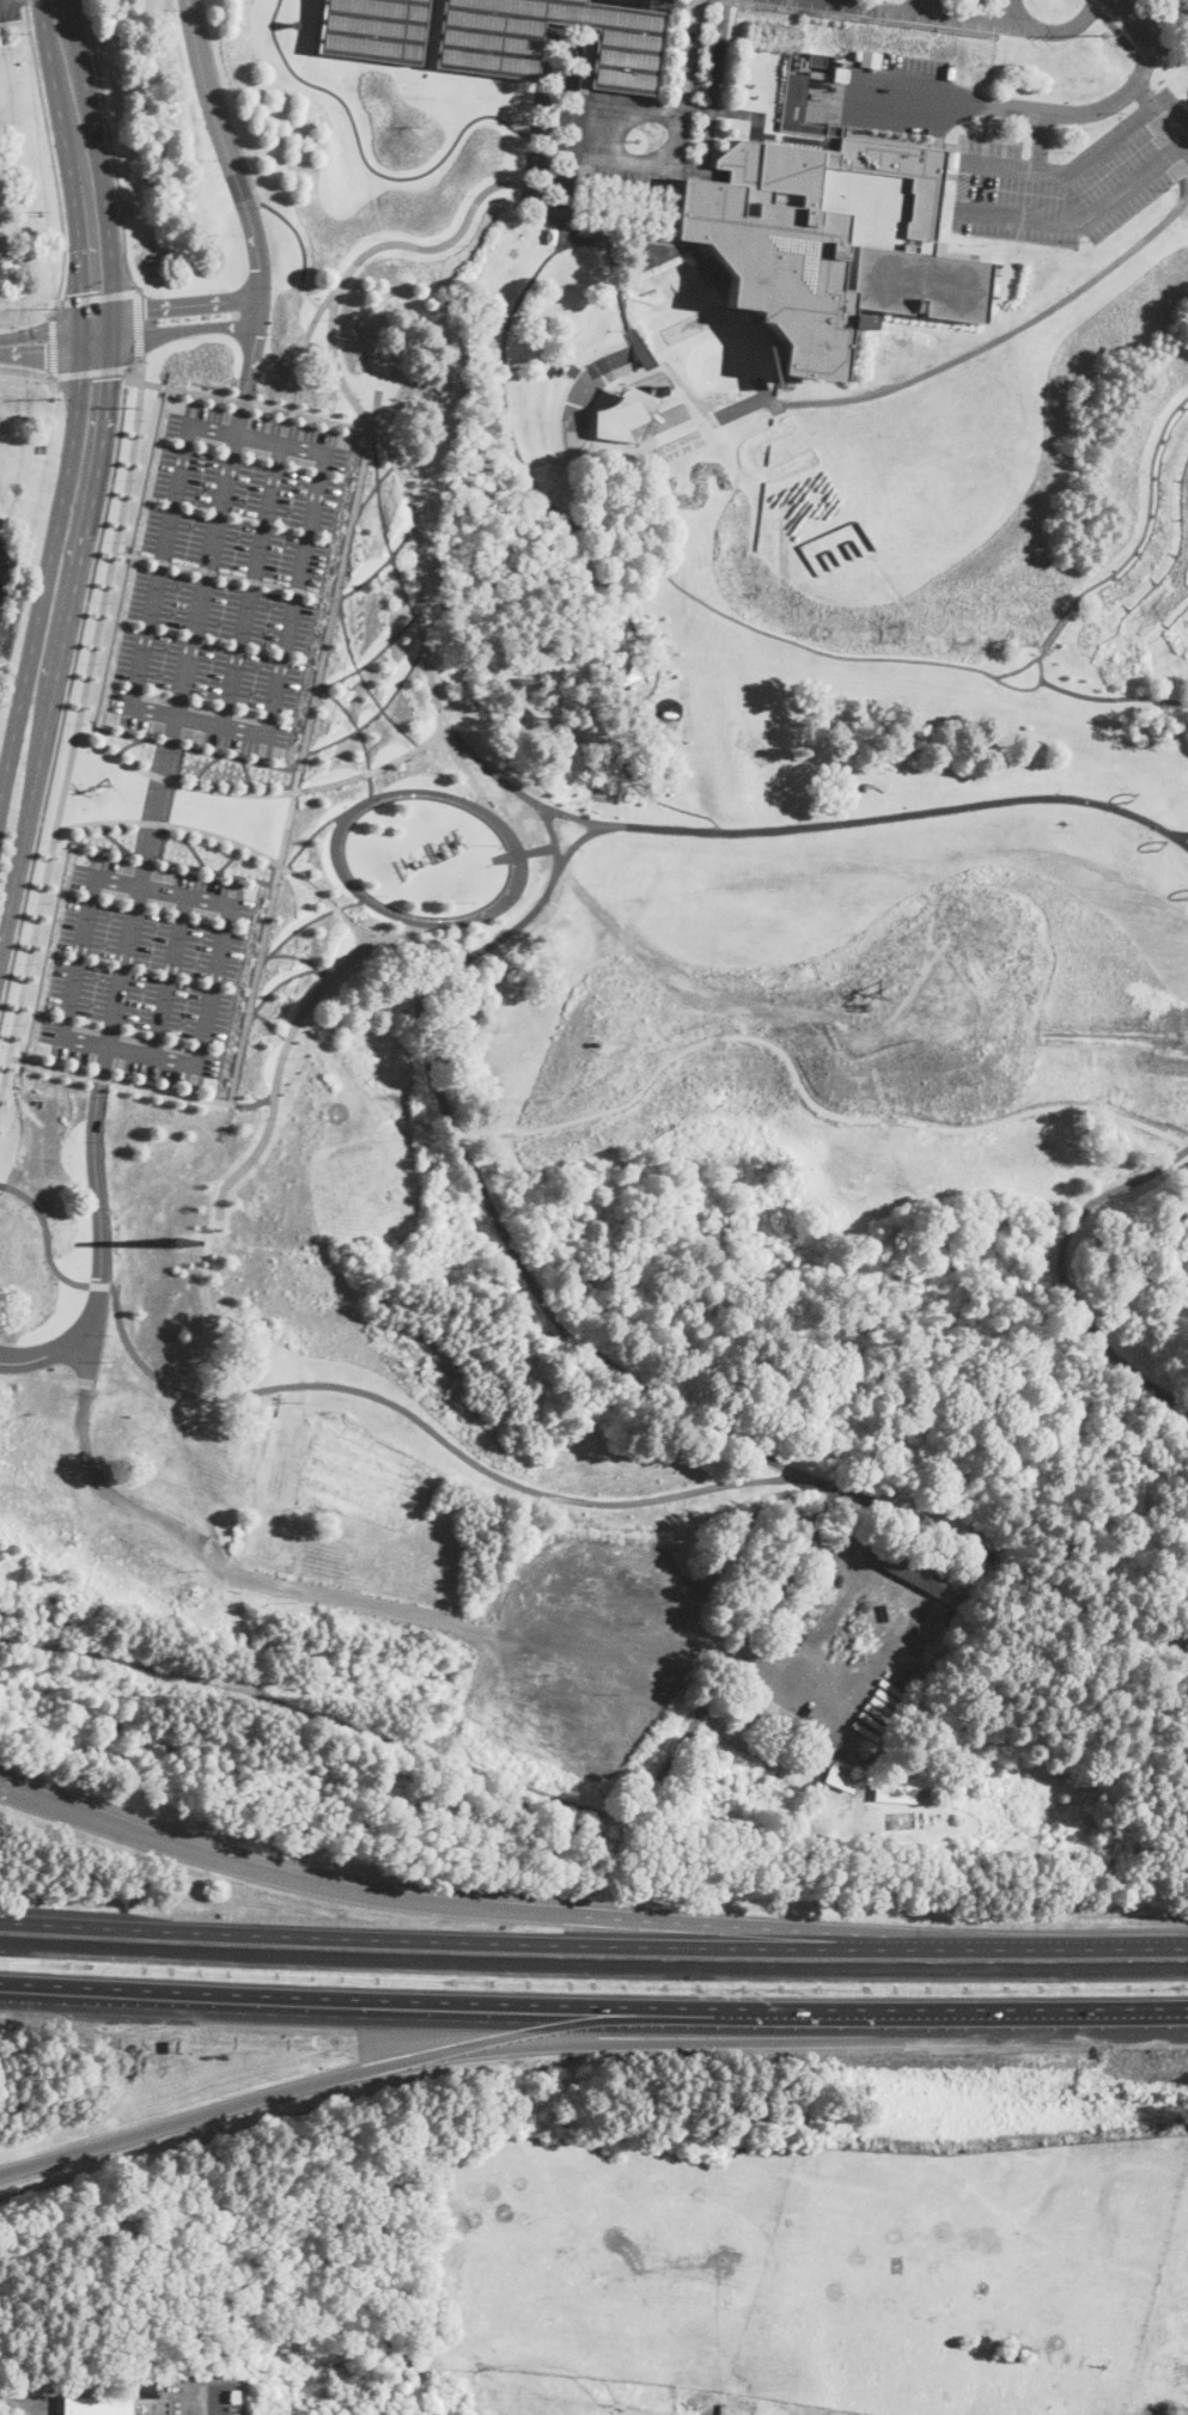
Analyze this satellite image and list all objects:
road: (24, 1)
road: (827, 1)
parking lot: (924, 4)
road: (787, 5)
road: (924, 7)
parking lot: (10, 10)
parking lot: (1011, 10)
road: (1009, 13)
park: (1175, 17)
road: (854, 18)
road: (957, 19)
power tower: (1114, 28)
building: (372, 29)
road: (1129, 44)
building: (487, 47)
road: (687, 55)
building: (816, 59)
road: (991, 65)
building: (840, 74)
road: (713, 90)
road: (224, 103)
road: (987, 104)
building: (800, 106)
road: (1036, 110)
road: (745, 114)
road: (985, 126)
road: (983, 136)
road: (1038, 138)
road: (110, 146)
road: (225, 148)
road: (589, 154)
building: (952, 158)
road: (571, 160)
road: (51, 161)
road: (1175, 164)
road: (99, 165)
parking lot: (628, 170)
road: (382, 175)
road: (686, 176)
parking lot: (1071, 181)
road: (1187, 187)
road: (480, 196)
road: (987, 209)
road: (296, 233)
building: (829, 242)
traffic signals: (81, 291)
road: (307, 295)
road: (97, 297)
road: (179, 304)
traffic signals: (145, 307)
road: (139, 323)
road: (184, 329)
road: (1009, 333)
road: (51, 342)
road: (56, 343)
traffic signals: (45, 346)
road: (252, 349)
road: (139, 367)
road: (336, 367)
road: (24, 370)
building: (569, 370)
road: (90, 371)
road: (134, 372)
road: (49, 377)
traffic signals: (109, 378)
road: (189, 391)
building: (660, 391)
road: (75, 401)
road: (560, 403)
road: (57, 414)
building: (623, 419)
road: (325, 452)
road: (568, 469)
road: (372, 488)
road: (550, 504)
road: (412, 507)
road: (383, 527)
road: (209, 557)
road: (379, 566)
road: (223, 573)
parking lot: (227, 578)
road: (251, 583)
road: (72, 593)
road: (371, 657)
road: (973, 667)
building: (623, 670)
road: (361, 681)
road: (1032, 688)
road: (67, 694)
road: (1113, 699)
road: (373, 714)
road: (650, 718)
road: (353, 722)
road: (74, 739)
street lamp: (179, 751)
road: (300, 762)
road: (492, 770)
street lamp: (172, 787)
road: (263, 792)
street lamp: (165, 819)
road: (859, 821)
street lamp: (99, 830)
road: (1180, 835)
street lamp: (188, 836)
road: (231, 840)
road: (1180, 841)
street lamp: (61, 842)
road: (575, 842)
street lamp: (234, 849)
street lamp: (157, 856)
street lamp: (123, 858)
street lamp: (268, 862)
street lamp: (171, 867)
street lamp: (215, 877)
road: (10, 898)
street lamp: (48, 903)
street lamp: (257, 907)
street lamp: (110, 919)
street lamp: (158, 929)
road: (294, 931)
street lamp: (202, 938)
street lamp: (105, 945)
street lamp: (249, 952)
street lamp: (152, 955)
road: (300, 957)
street lamp: (35, 964)
street lamp: (196, 964)
parking lot: (93, 972)
road: (169, 978)
street lamp: (98, 980)
road: (278, 984)
street lamp: (145, 989)
street lamp: (239, 998)
street lamp: (189, 999)
street lamp: (92, 1006)
street lamp: (140, 1016)
road: (270, 1024)
street lamp: (22, 1025)
street lamp: (183, 1025)
street lamp: (230, 1043)
road: (106, 1044)
street lamp: (79, 1067)
road: (197, 1071)
road: (276, 1072)
street lamp: (127, 1078)
road: (139, 1085)
street lamp: (10, 1086)
street lamp: (170, 1086)
street lamp: (220, 1087)
park: (626, 1087)
road: (804, 1088)
road: (44, 1236)
building: (182, 1240)
road: (1062, 1274)
road: (99, 1285)
road: (47, 1353)
road: (598, 1355)
road: (418, 1421)
road: (840, 1566)
building: (906, 1568)
road: (614, 1627)
road: (1165, 1636)
road: (756, 1665)
building: (735, 1702)
building: (774, 1713)
building: (778, 1757)
road: (499, 1776)
building: (840, 1780)
building: (902, 1794)
road: (1026, 1843)
road: (518, 1910)
road: (526, 1945)
road: (1121, 1951)
road: (376, 2002)
road: (970, 2026)
road: (370, 2072)
crop: (825, 2255)
road: (206, 2401)
building: (703, 2402)
building: (96, 2404)
road: (30, 2407)
building: (743, 2407)

